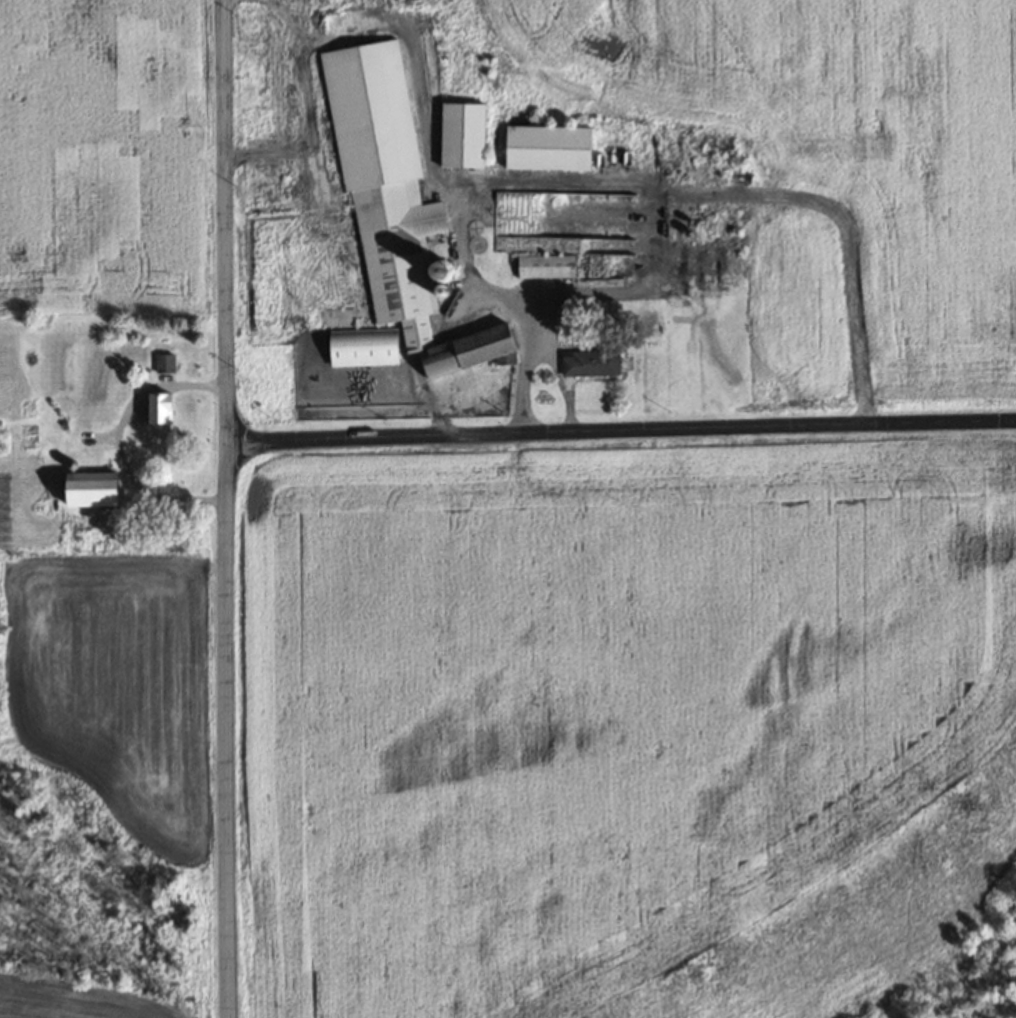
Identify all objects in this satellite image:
building: (457, 136)
building: (541, 148)
building: (390, 203)
building: (550, 254)
building: (604, 267)
building: (695, 276)
building: (358, 348)
building: (162, 364)
building: (586, 364)
road: (152, 386)
building: (174, 411)
road: (621, 432)
building: (85, 488)
road: (223, 509)

